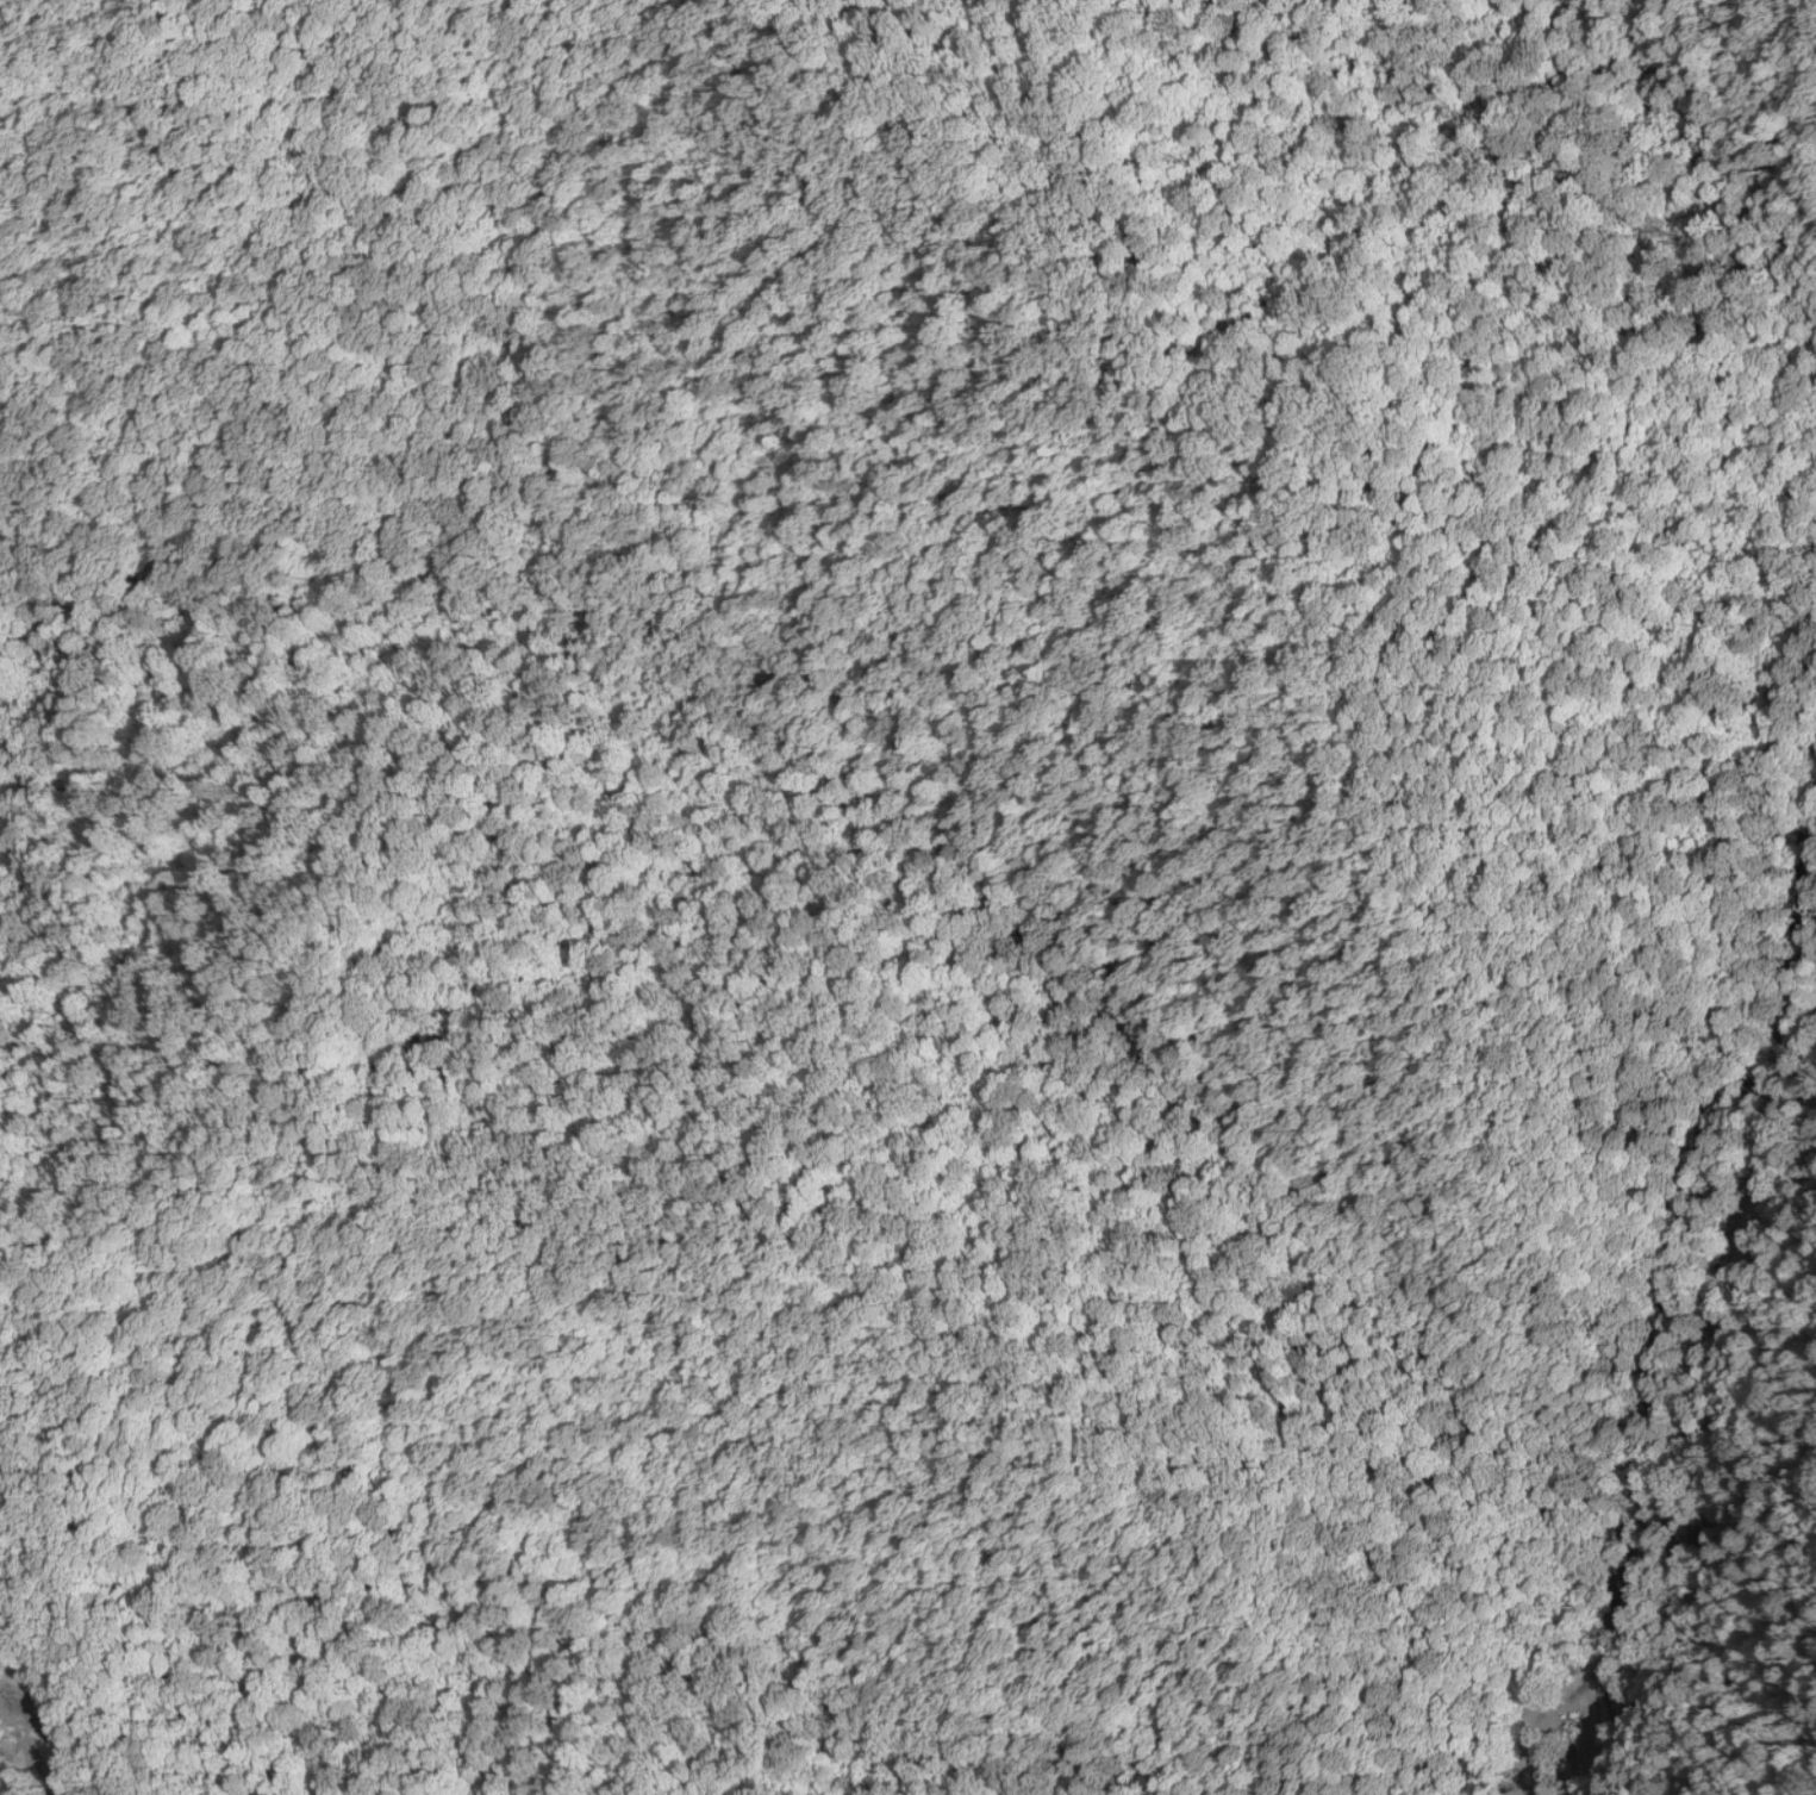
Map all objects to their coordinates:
road: (1799, 20)
road: (1687, 1413)

